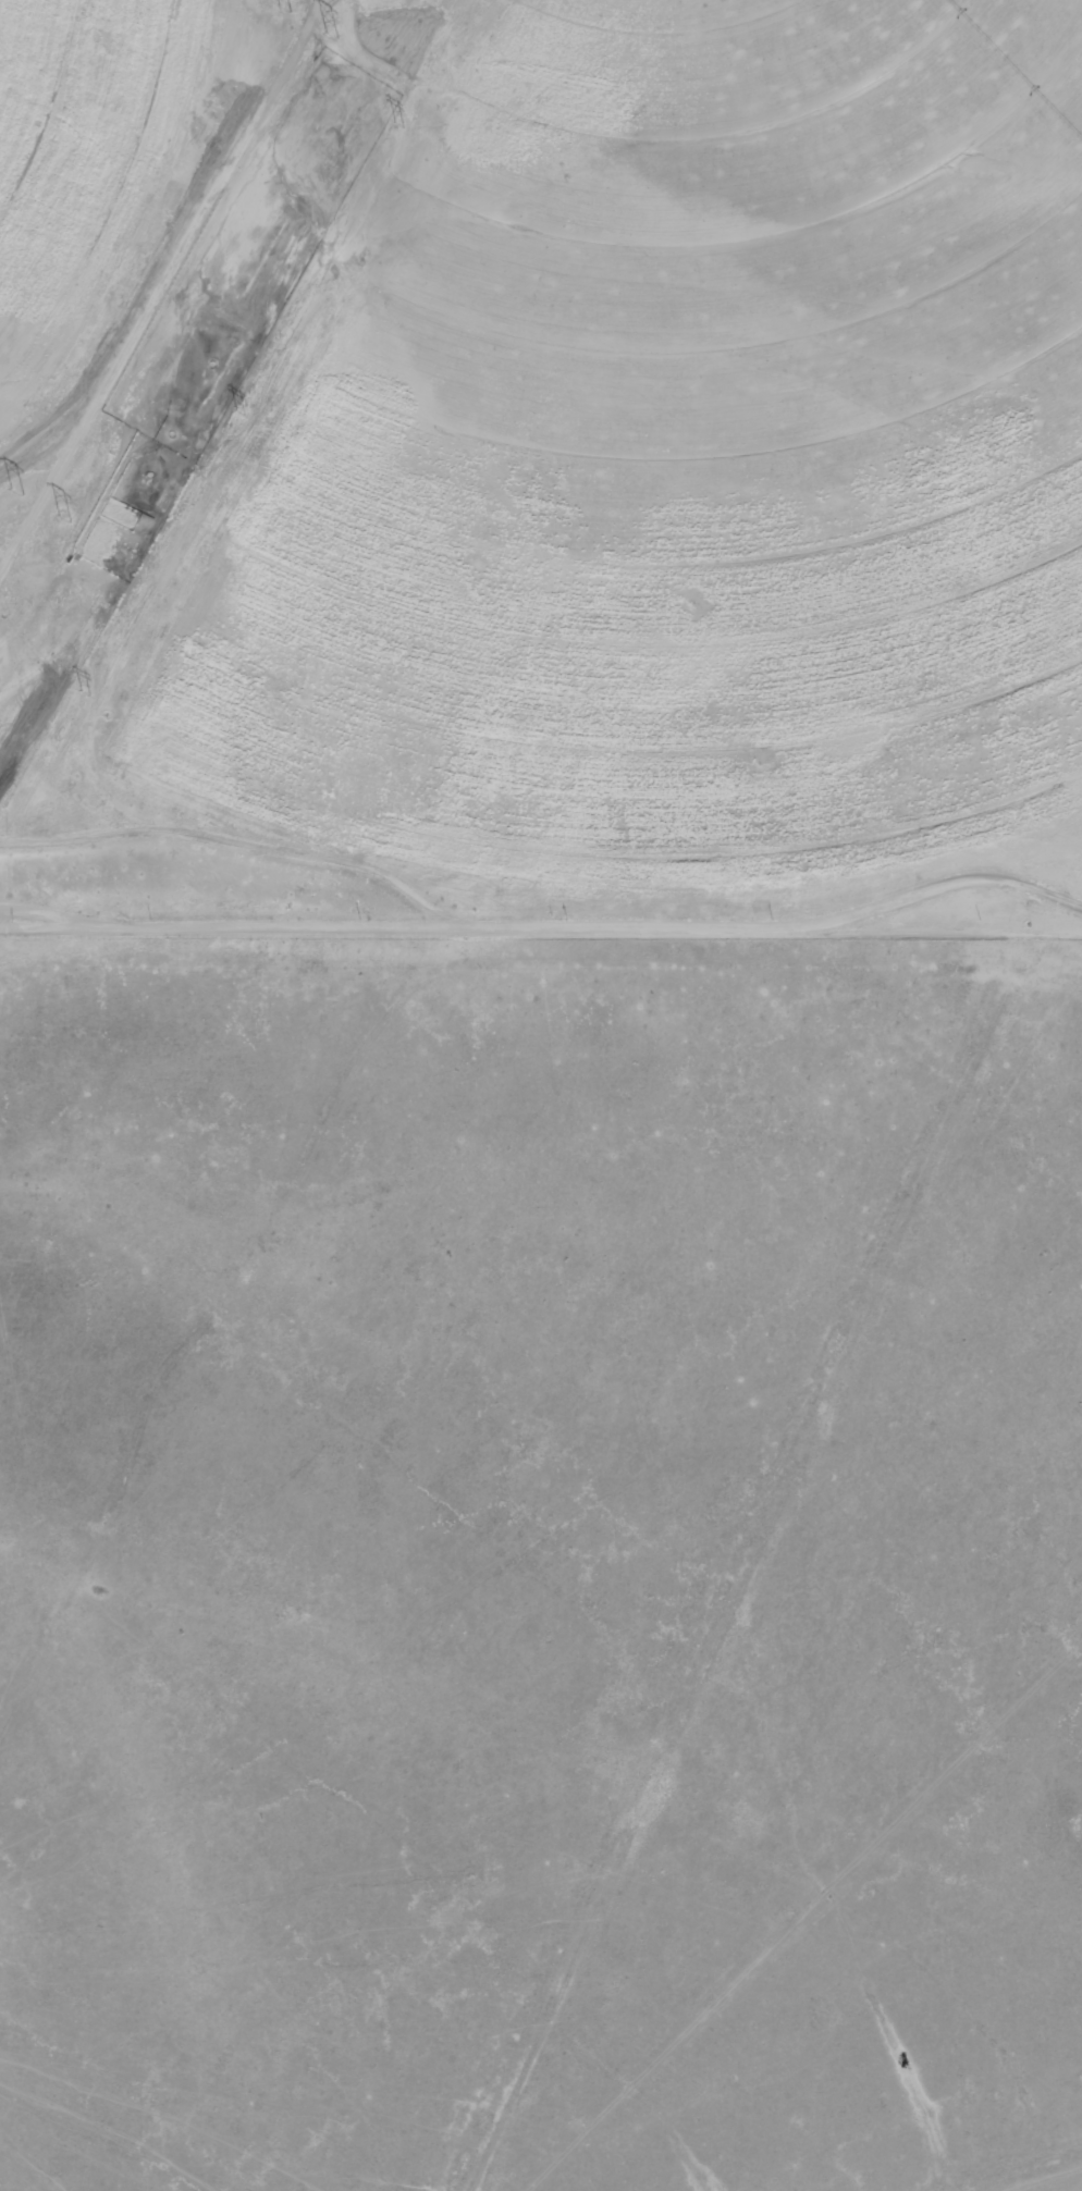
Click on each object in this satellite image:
power tower: (284, 7)
power tower: (332, 29)
power tower: (398, 121)
power tower: (19, 490)
power tower: (65, 519)
power tower: (82, 691)
road: (405, 902)

